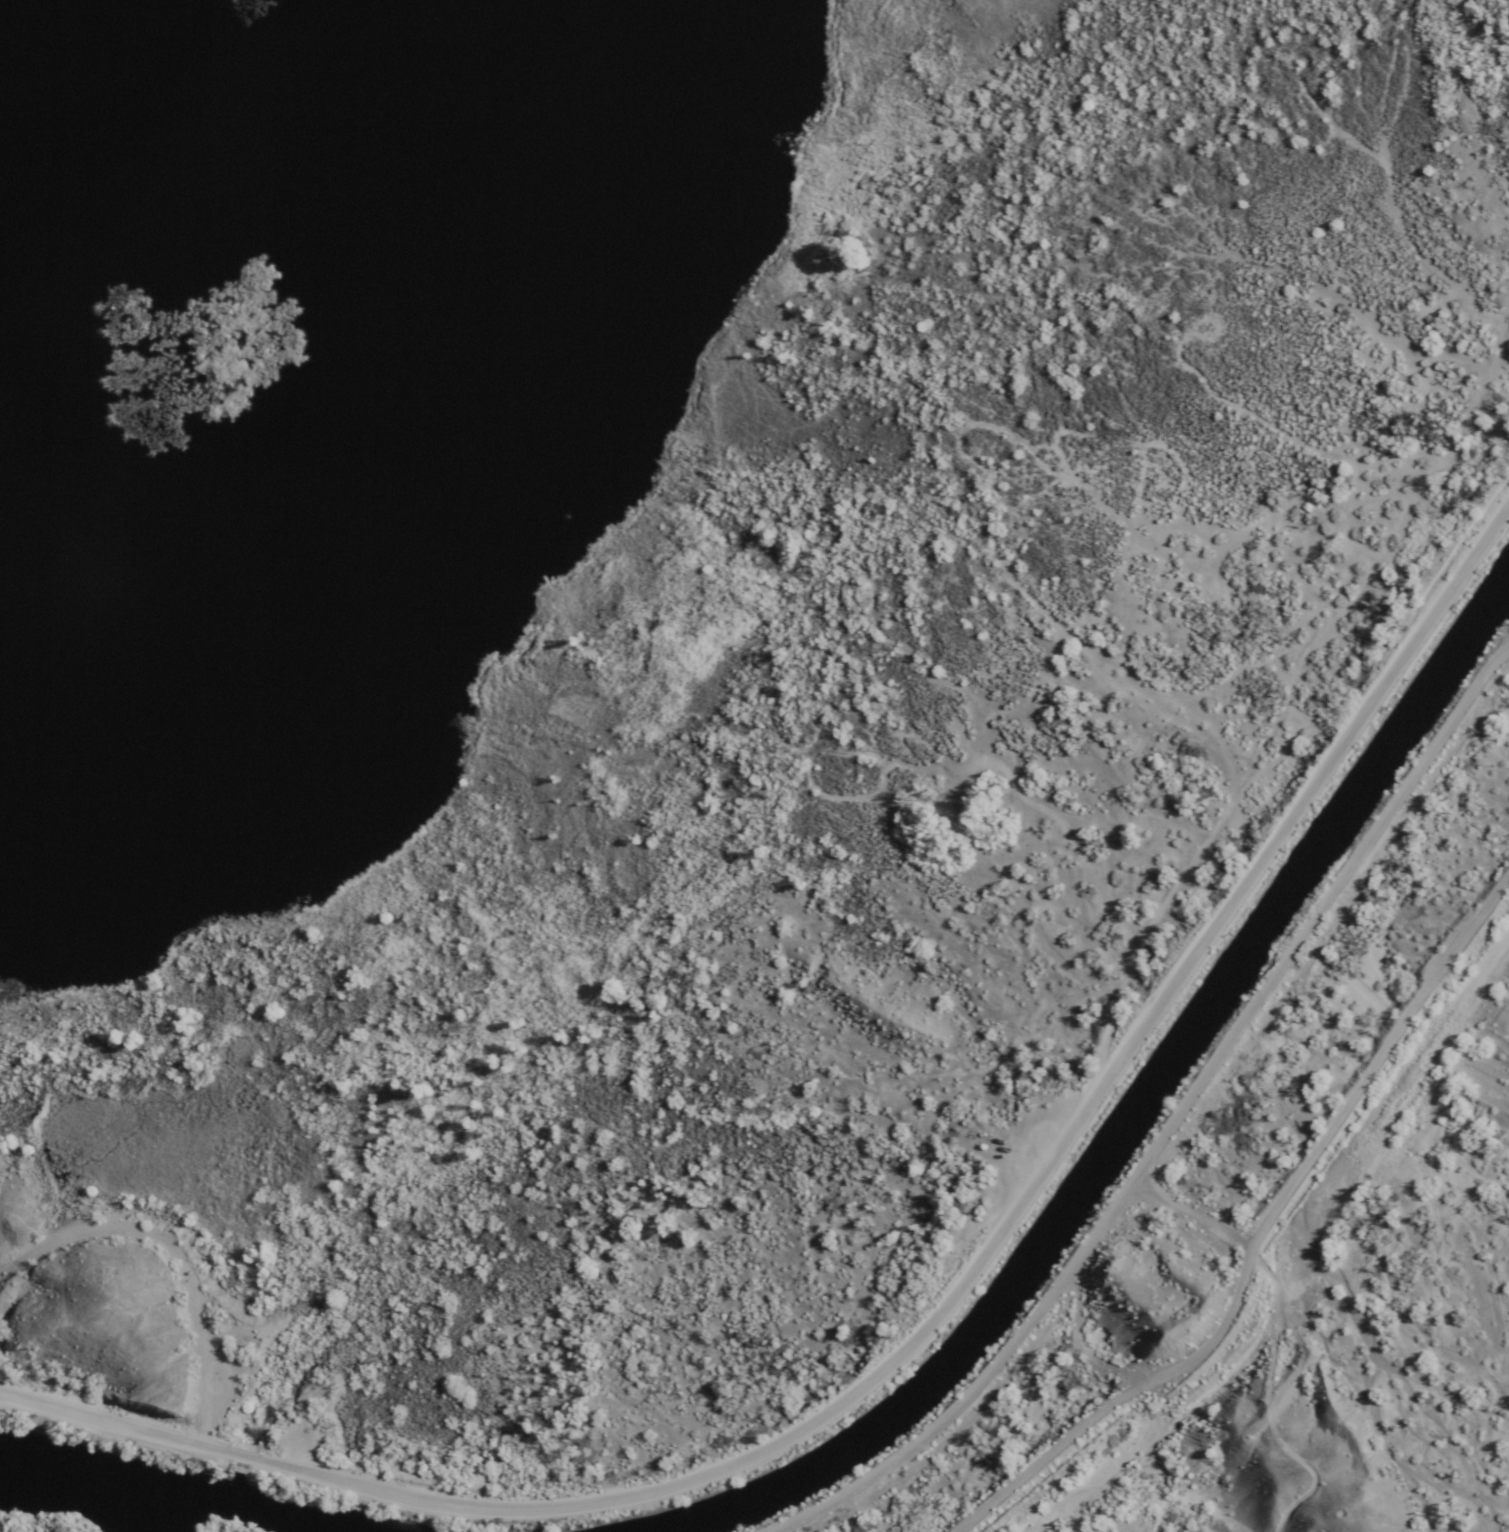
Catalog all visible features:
river: (1137, 1114)
road: (932, 1321)
river: (167, 1501)

